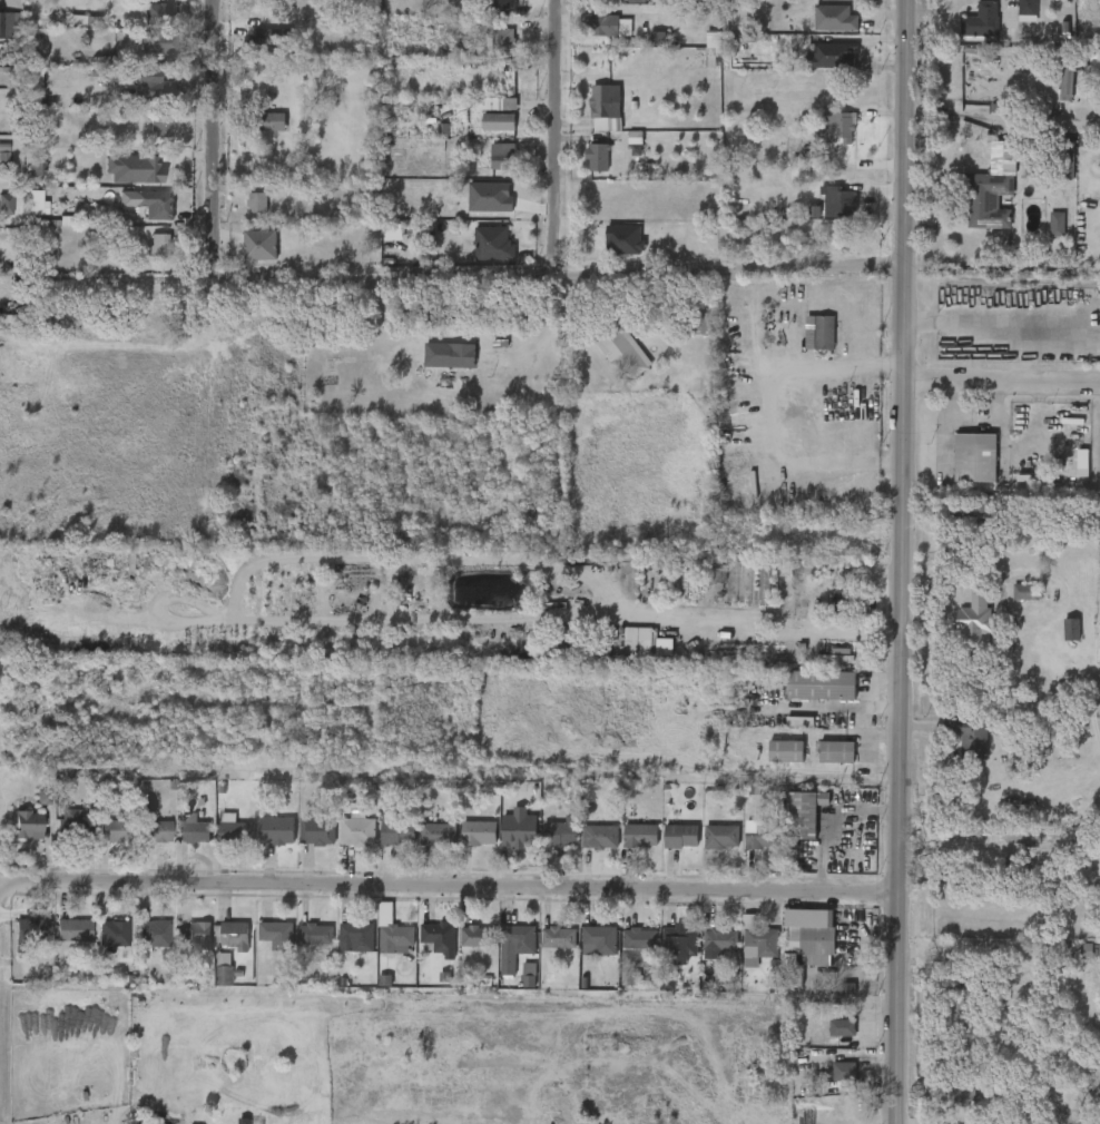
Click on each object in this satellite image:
building: (952, 0)
building: (968, 0)
building: (89, 1)
building: (817, 1)
building: (596, 3)
building: (487, 4)
building: (1028, 10)
building: (160, 11)
building: (621, 11)
building: (835, 18)
building: (981, 19)
building: (1013, 20)
building: (603, 24)
building: (7, 26)
building: (141, 27)
building: (819, 31)
building: (966, 33)
building: (596, 39)
building: (502, 40)
building: (161, 42)
building: (244, 51)
building: (489, 55)
building: (838, 56)
building: (147, 57)
building: (817, 69)
building: (1088, 80)
building: (151, 88)
building: (138, 100)
building: (605, 102)
building: (495, 103)
road: (978, 116)
building: (481, 117)
road: (1052, 118)
building: (267, 120)
building: (591, 120)
building: (498, 121)
building: (160, 124)
building: (837, 128)
building: (258, 135)
building: (483, 135)
road: (220, 140)
building: (824, 140)
building: (147, 141)
building: (502, 156)
building: (598, 156)
building: (488, 168)
building: (582, 170)
building: (22, 179)
building: (118, 181)
road: (562, 183)
building: (988, 198)
building: (837, 200)
building: (4, 201)
building: (257, 201)
building: (973, 213)
building: (243, 216)
building: (824, 216)
building: (19, 217)
building: (139, 217)
building: (1057, 223)
building: (1042, 237)
building: (161, 244)
building: (479, 256)
building: (145, 258)
building: (246, 258)
road: (495, 277)
road: (1010, 336)
building: (805, 345)
building: (451, 356)
building: (607, 361)
building: (435, 368)
road: (1002, 383)
road: (768, 413)
building: (975, 456)
building: (960, 471)
building: (1068, 475)
building: (959, 504)
building: (950, 524)
road: (902, 562)
building: (703, 588)
building: (1023, 591)
building: (724, 594)
building: (749, 596)
building: (1010, 604)
road: (481, 618)
building: (822, 618)
building: (974, 623)
building: (625, 653)
building: (651, 659)
building: (821, 686)
building: (806, 698)
building: (799, 722)
building: (955, 749)
building: (785, 750)
building: (835, 752)
building: (770, 763)
building: (822, 765)
building: (804, 812)
road: (835, 824)
building: (28, 825)
building: (75, 826)
building: (789, 826)
building: (519, 829)
building: (277, 830)
building: (397, 830)
building: (115, 831)
building: (317, 831)
building: (357, 831)
building: (155, 832)
building: (195, 832)
building: (236, 832)
building: (561, 832)
building: (480, 834)
building: (439, 835)
building: (59, 836)
building: (641, 836)
building: (681, 836)
building: (763, 836)
building: (600, 837)
building: (13, 838)
building: (721, 838)
building: (501, 840)
building: (220, 841)
building: (343, 841)
building: (383, 841)
building: (179, 842)
building: (262, 842)
building: (302, 842)
building: (99, 844)
building: (143, 844)
building: (464, 845)
building: (548, 845)
building: (423, 847)
building: (626, 847)
building: (744, 847)
building: (666, 848)
building: (586, 849)
building: (707, 849)
road: (450, 893)
road: (1, 898)
building: (31, 929)
building: (73, 930)
building: (154, 934)
building: (194, 934)
building: (234, 934)
building: (112, 935)
building: (276, 935)
building: (315, 935)
building: (395, 937)
building: (479, 937)
building: (356, 938)
building: (558, 938)
building: (639, 939)
building: (438, 940)
building: (681, 940)
building: (720, 940)
building: (18, 941)
building: (599, 941)
building: (806, 941)
building: (59, 943)
building: (760, 944)
building: (139, 945)
building: (379, 945)
building: (183, 946)
building: (301, 946)
building: (513, 946)
building: (99, 947)
building: (220, 947)
building: (263, 947)
building: (458, 948)
building: (342, 949)
building: (425, 949)
building: (544, 949)
building: (625, 952)
building: (585, 953)
building: (704, 955)
building: (665, 956)
building: (501, 958)
building: (1063, 962)
building: (514, 979)
building: (950, 1009)
building: (841, 1028)
building: (827, 1039)
building: (843, 1072)
building: (829, 1084)
building: (959, 1093)
building: (845, 1104)
building: (945, 1110)

